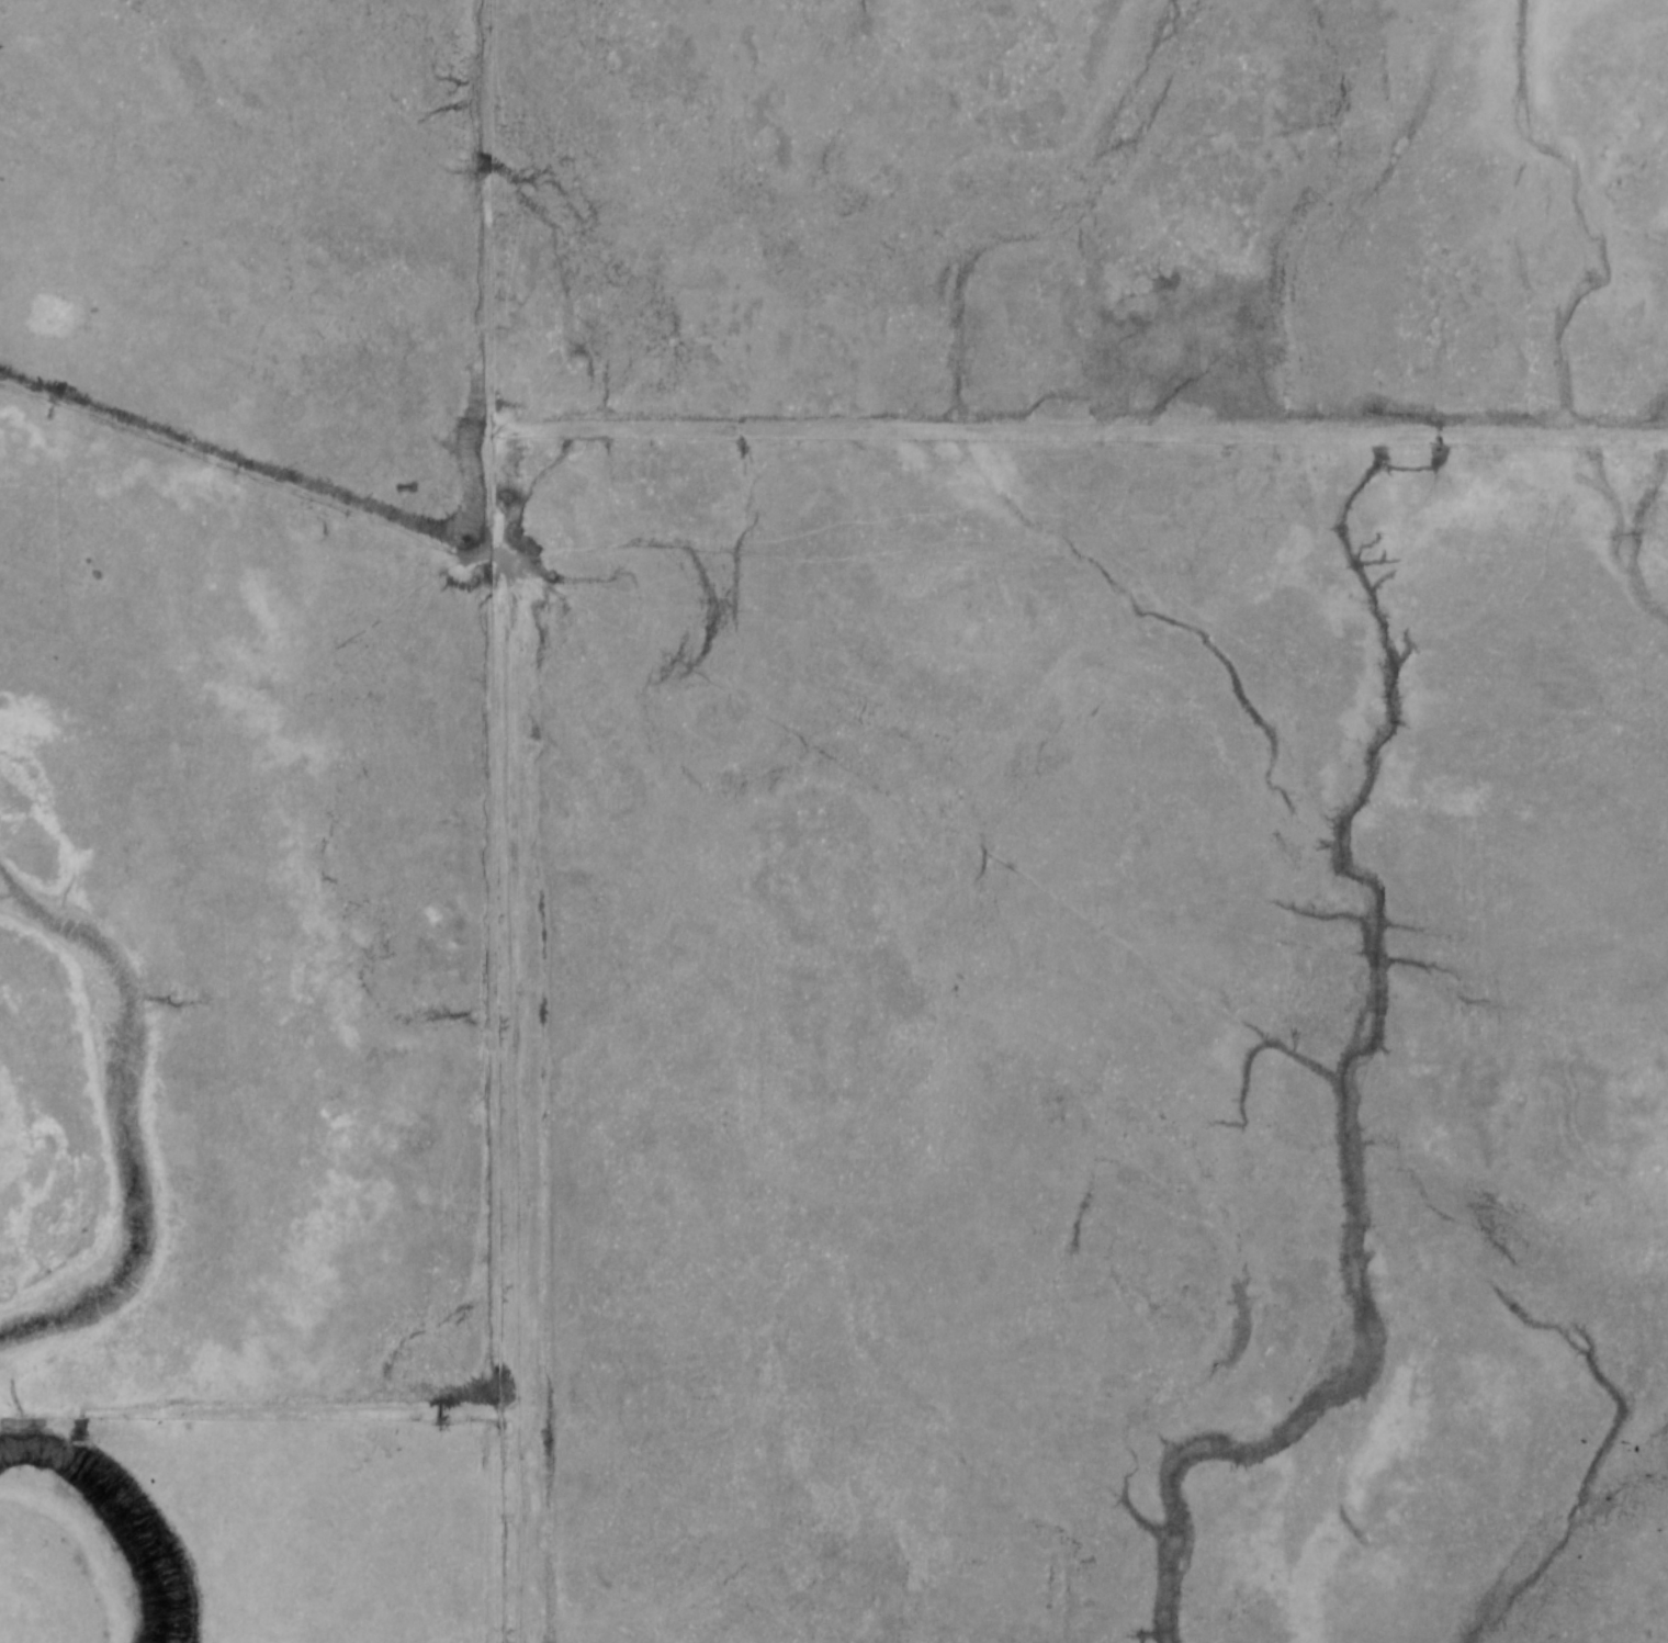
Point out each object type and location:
road: (1089, 432)

